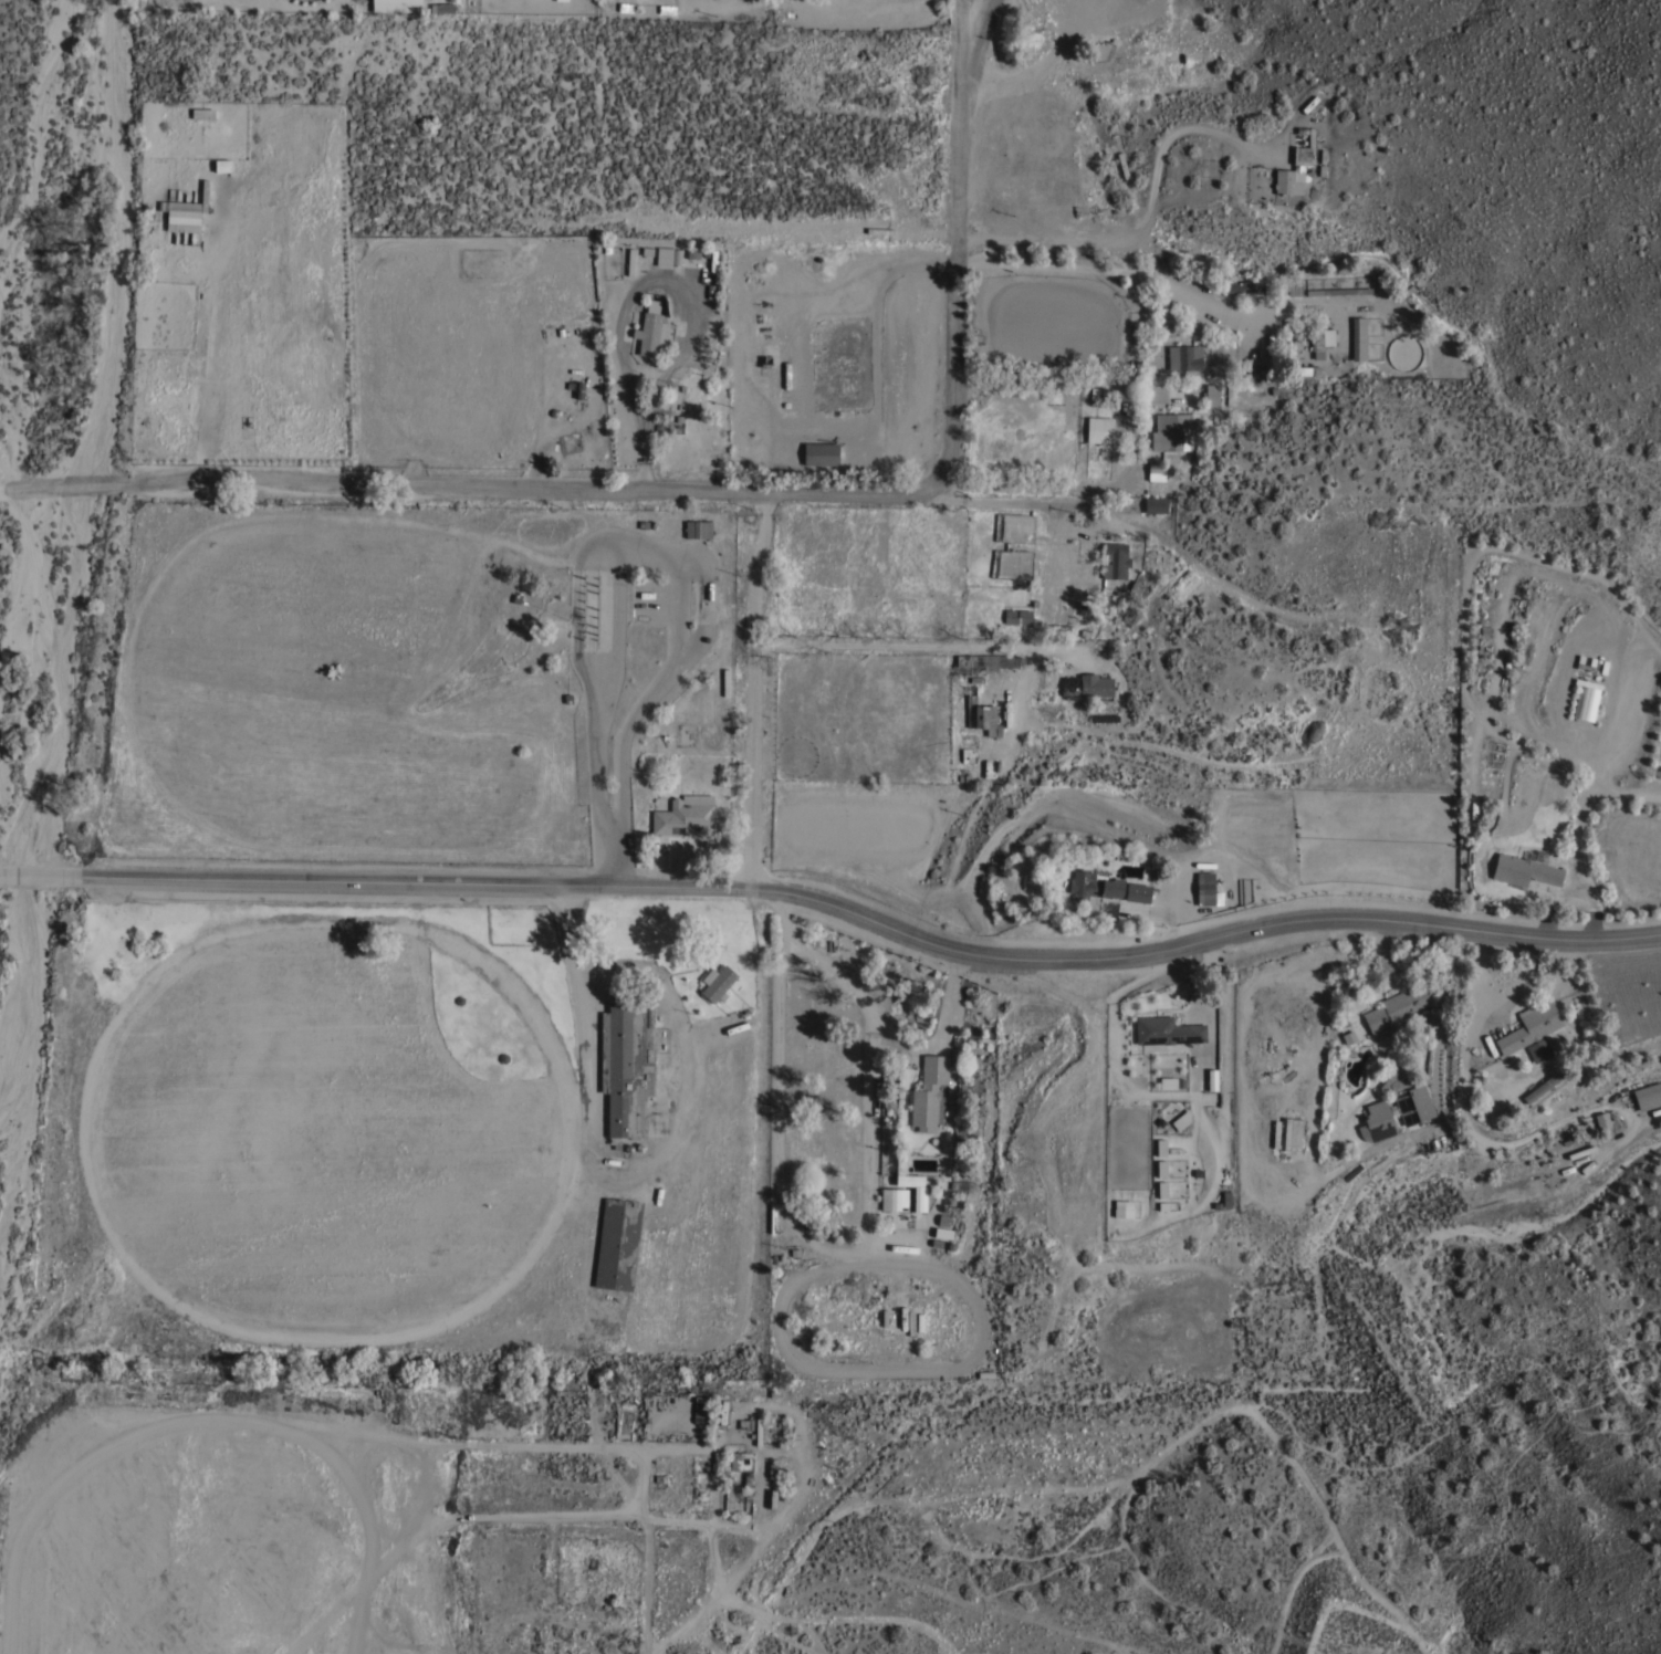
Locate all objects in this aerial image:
building: (396, 6)
building: (441, 7)
building: (626, 7)
road: (1034, 67)
road: (959, 113)
building: (203, 114)
building: (1302, 155)
building: (1122, 165)
building: (1288, 180)
road: (1149, 212)
building: (181, 216)
road: (784, 224)
building: (668, 255)
building: (606, 257)
building: (1283, 282)
building: (1242, 286)
building: (1294, 289)
building: (1338, 290)
road: (638, 291)
building: (1306, 312)
building: (652, 328)
building: (1322, 339)
building: (1359, 339)
building: (1184, 356)
road: (955, 369)
building: (1307, 369)
building: (1211, 394)
building: (1099, 428)
building: (1170, 431)
building: (821, 453)
building: (1155, 471)
road: (457, 488)
road: (1076, 498)
building: (1156, 504)
building: (698, 528)
building: (1115, 559)
building: (1106, 601)
building: (1017, 616)
road: (678, 629)
road: (931, 645)
building: (985, 661)
building: (725, 680)
building: (1087, 685)
road: (755, 690)
building: (1586, 699)
building: (981, 715)
road: (607, 744)
building: (685, 814)
building: (928, 858)
building: (1525, 868)
building: (1208, 884)
building: (1105, 887)
road: (836, 907)
building: (1370, 977)
building: (717, 983)
building: (1396, 1008)
building: (1529, 1026)
building: (1167, 1030)
building: (1538, 1049)
building: (627, 1061)
building: (1542, 1087)
building: (930, 1092)
building: (1408, 1096)
building: (1648, 1096)
building: (1181, 1120)
building: (1377, 1121)
building: (1602, 1124)
building: (1276, 1133)
building: (1292, 1133)
building: (1160, 1147)
road: (617, 1171)
building: (1231, 1194)
building: (918, 1197)
building: (894, 1198)
building: (1122, 1208)
building: (773, 1218)
building: (618, 1243)
building: (700, 1405)
building: (759, 1431)
road: (628, 1444)
building: (741, 1461)
building: (748, 1493)
building: (733, 1497)

